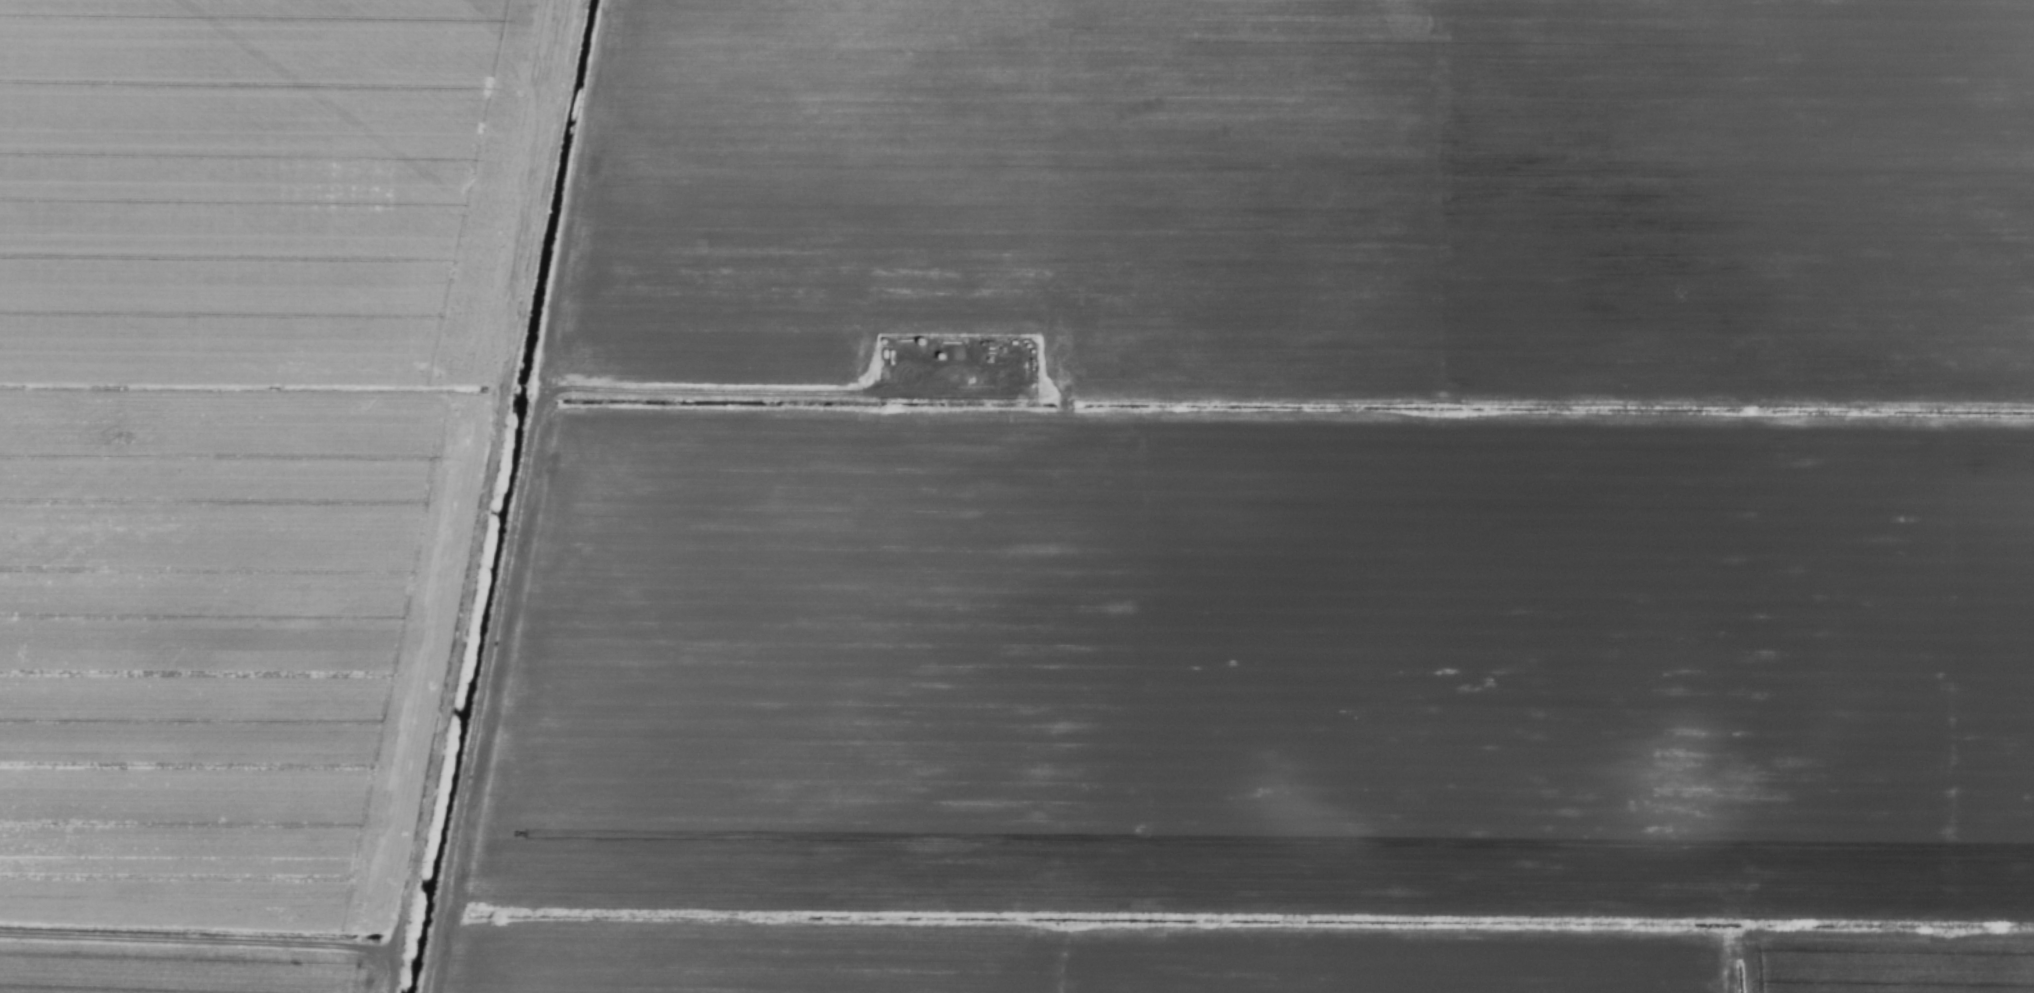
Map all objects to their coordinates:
crop: (1017, 496)
road: (196, 949)

